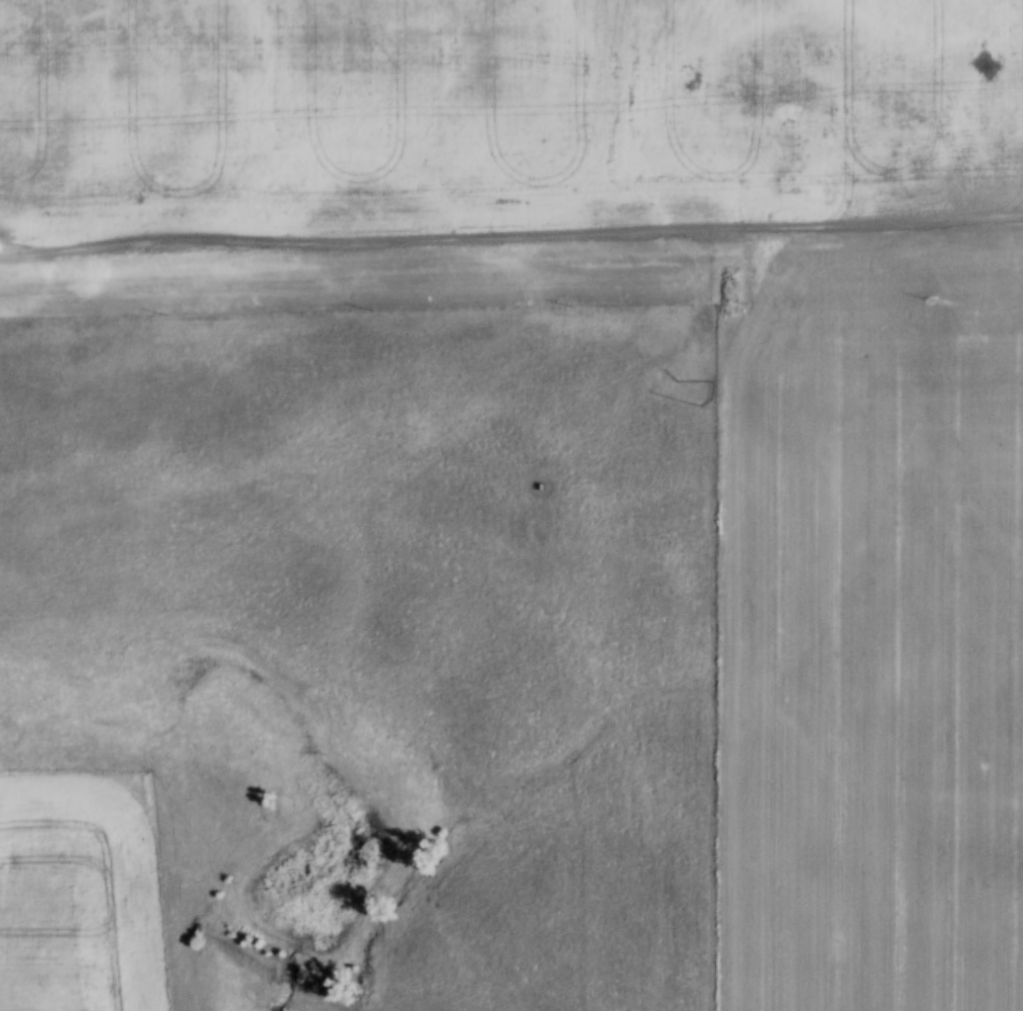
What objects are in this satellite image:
building: (815, 52)
road: (511, 243)

